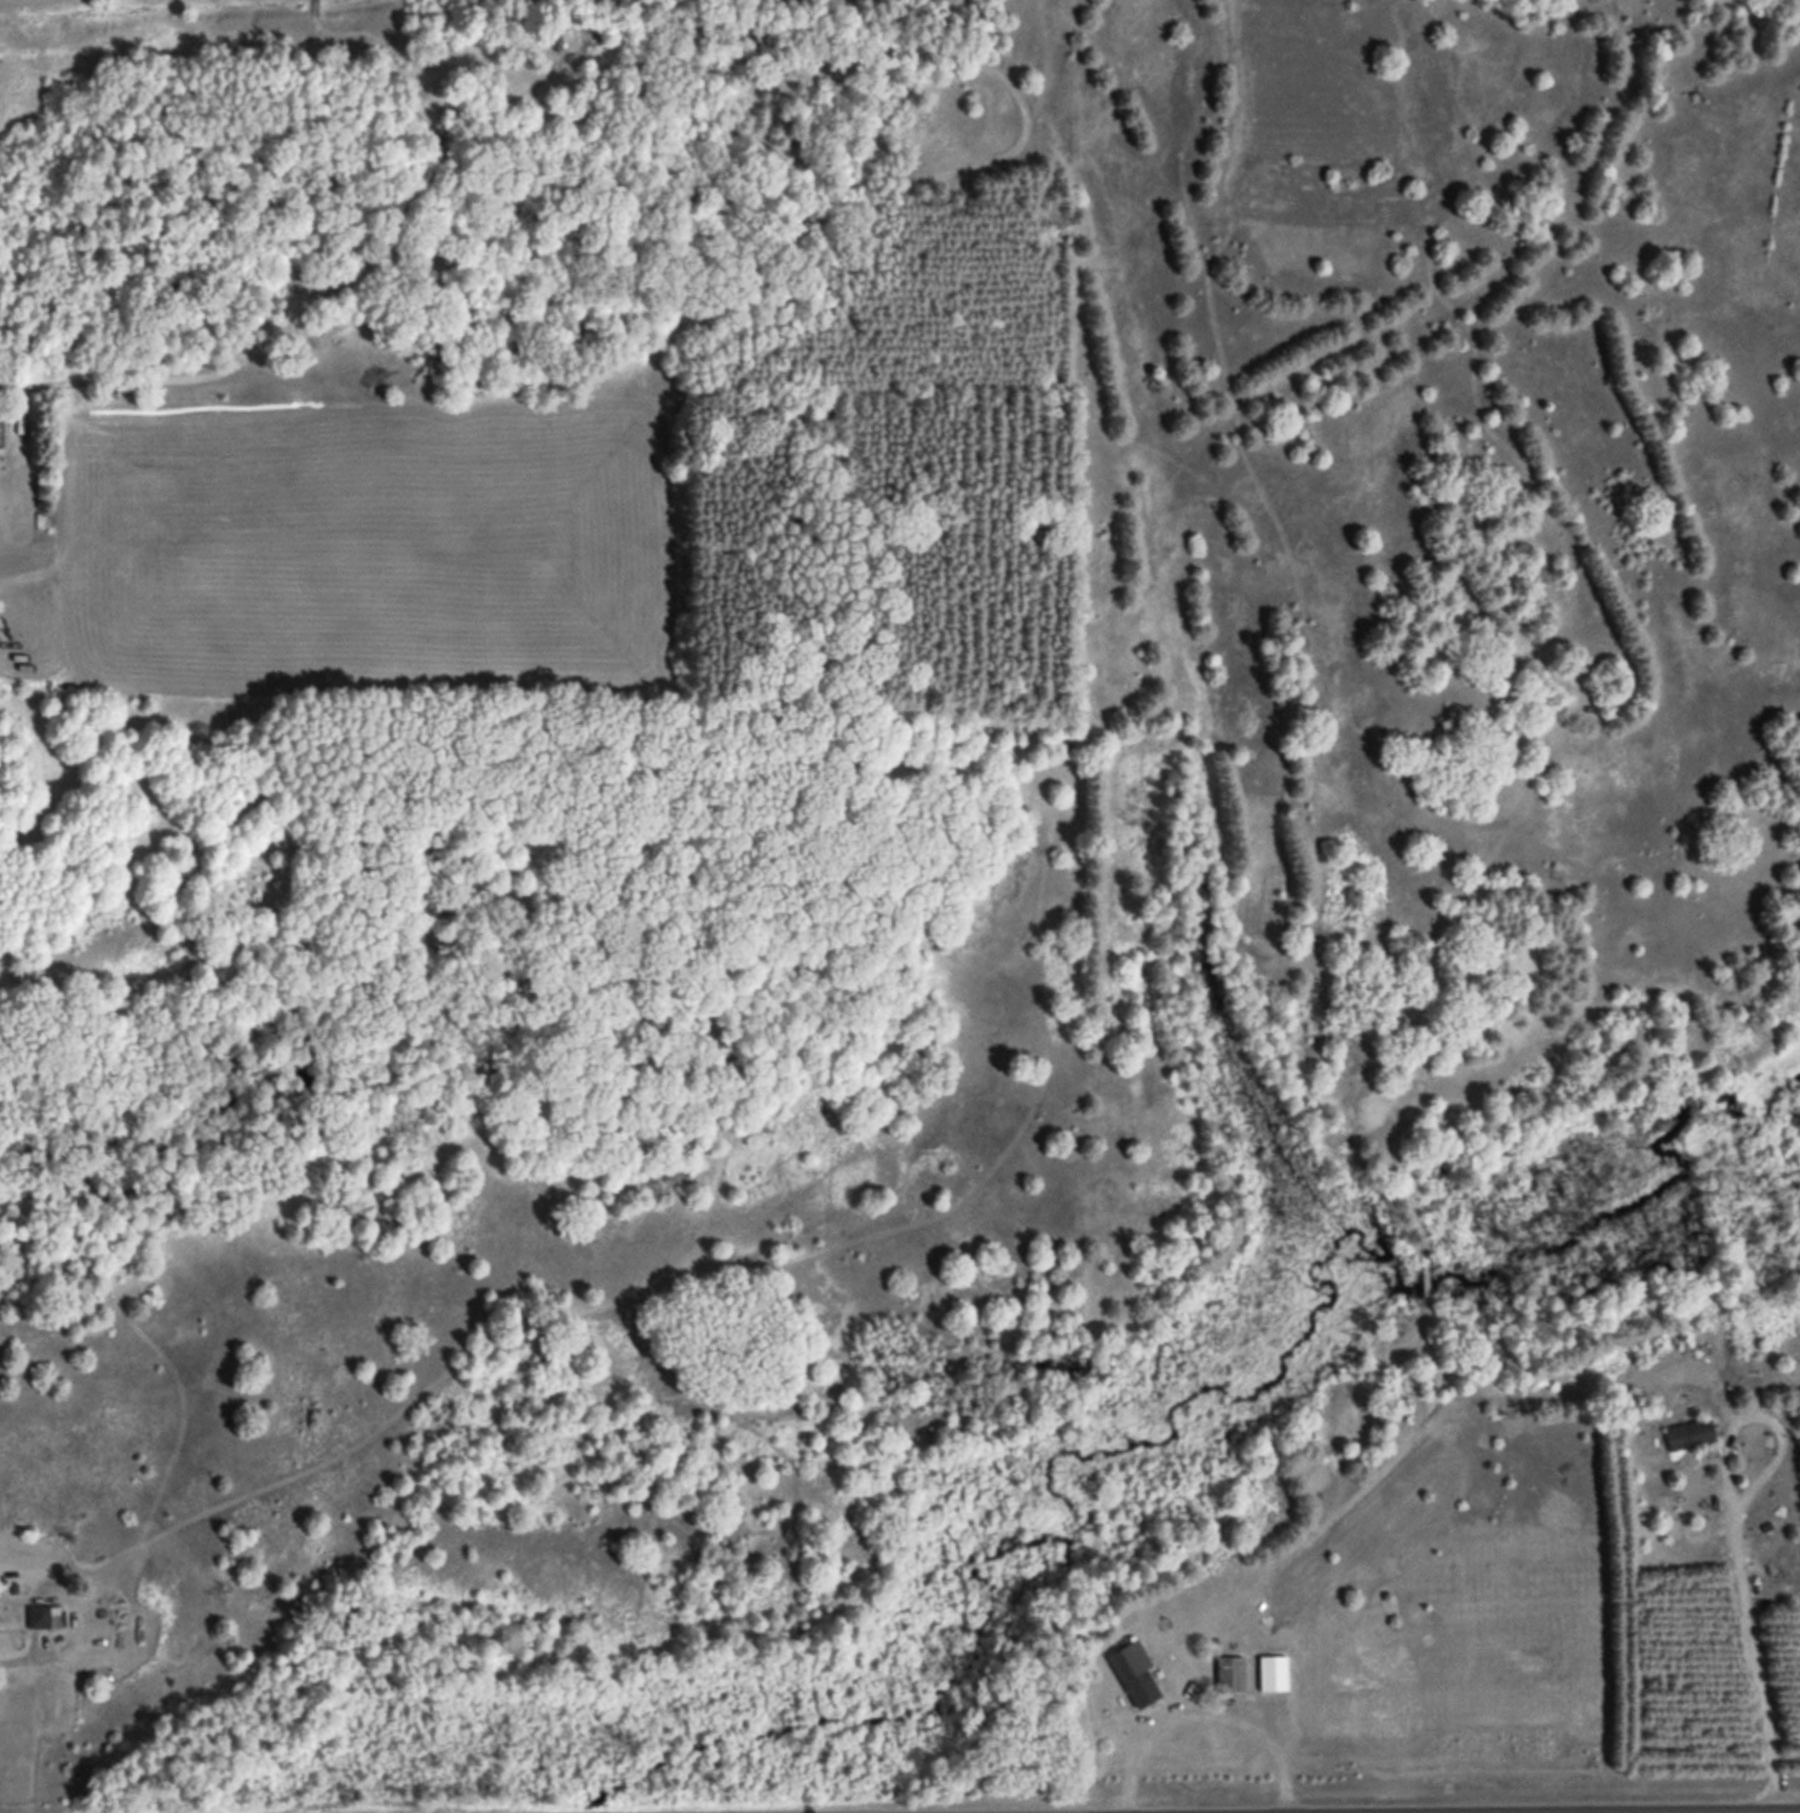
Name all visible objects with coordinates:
building: (1689, 1432)
building: (40, 1615)
building: (1231, 1671)
building: (1135, 1674)
road: (1490, 1798)

